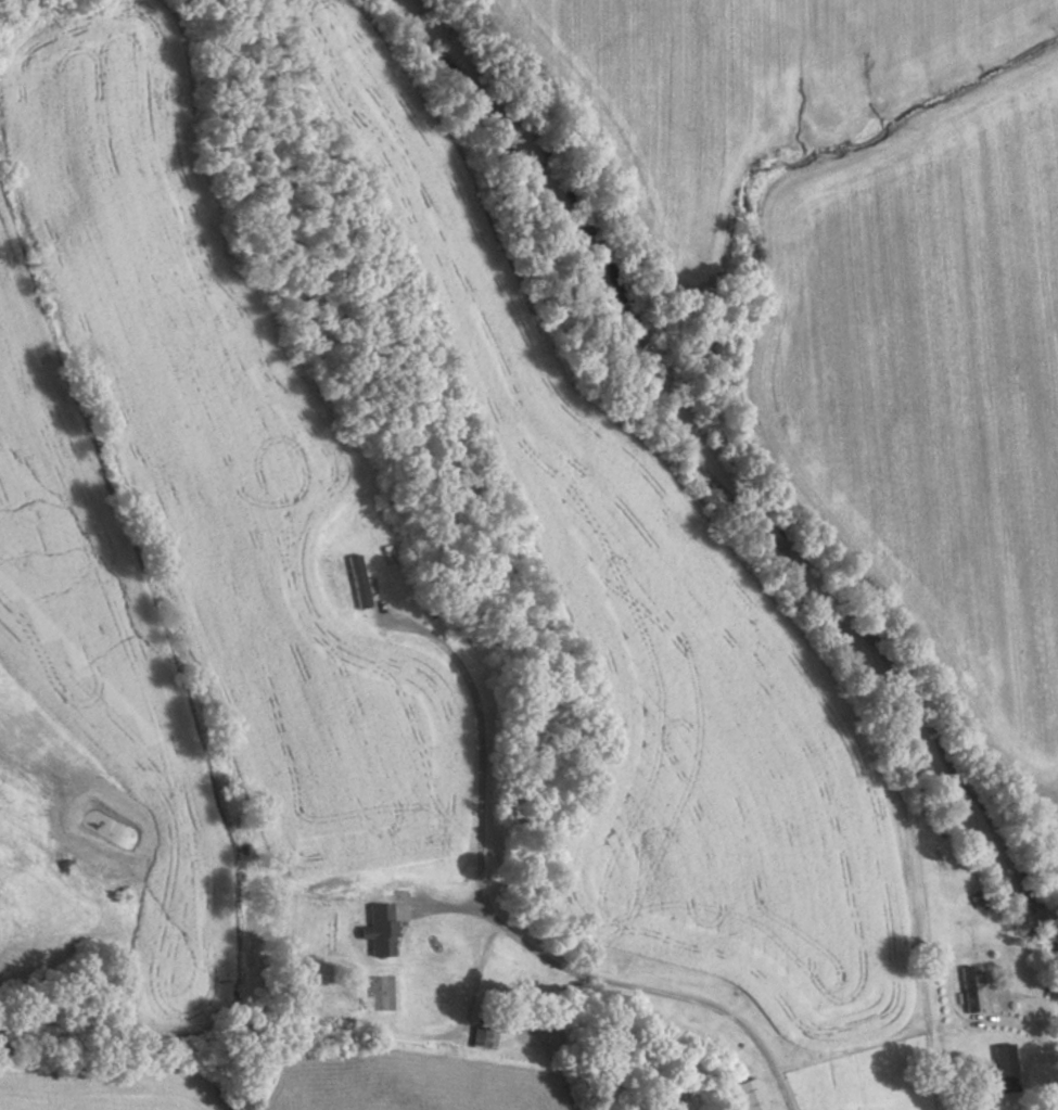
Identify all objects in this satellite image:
building: (358, 582)
building: (383, 928)
road: (513, 931)
building: (966, 990)
building: (1003, 1069)
building: (745, 1095)
road: (789, 1107)

